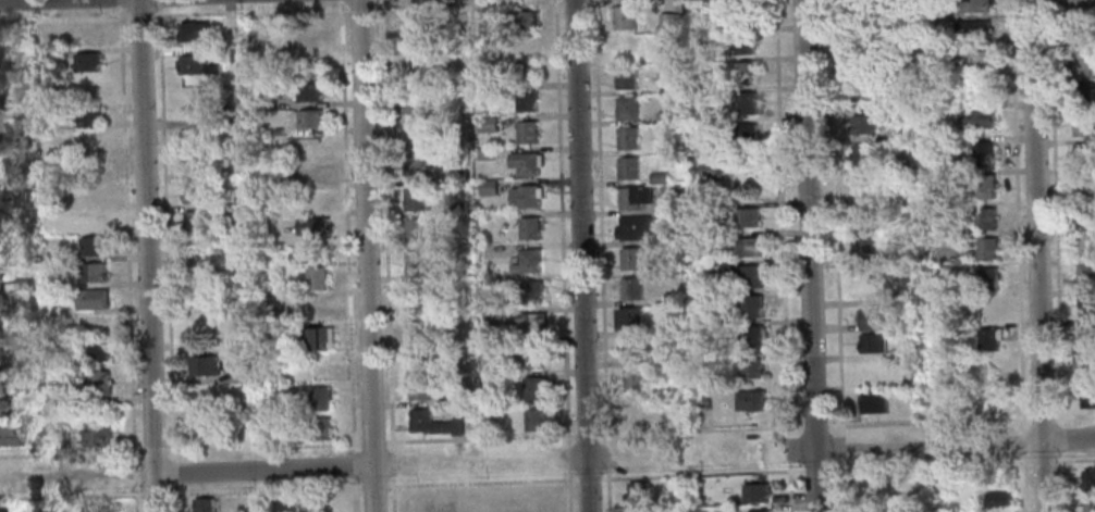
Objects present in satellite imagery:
road: (15, 0)
building: (909, 2)
road: (121, 3)
road: (340, 3)
road: (379, 3)
road: (455, 3)
road: (158, 4)
road: (359, 7)
building: (973, 7)
building: (1079, 7)
building: (865, 8)
road: (245, 10)
road: (139, 14)
building: (741, 14)
road: (63, 15)
building: (624, 17)
building: (518, 21)
building: (667, 22)
building: (229, 24)
building: (408, 25)
building: (193, 32)
building: (972, 32)
building: (1080, 35)
building: (86, 36)
building: (276, 42)
building: (743, 43)
building: (625, 48)
building: (47, 55)
building: (979, 61)
building: (87, 62)
building: (196, 65)
building: (436, 65)
building: (525, 65)
building: (861, 65)
building: (1081, 65)
building: (745, 73)
building: (894, 74)
building: (625, 77)
building: (980, 88)
building: (307, 92)
building: (1082, 95)
building: (862, 96)
building: (525, 100)
building: (9, 102)
building: (410, 102)
building: (746, 103)
building: (896, 104)
building: (200, 108)
building: (626, 108)
building: (88, 117)
building: (666, 117)
building: (309, 120)
building: (979, 120)
building: (487, 124)
building: (864, 124)
building: (1083, 125)
building: (527, 132)
building: (745, 134)
building: (415, 137)
building: (627, 138)
building: (17, 139)
building: (454, 145)
building: (89, 146)
building: (484, 153)
building: (983, 153)
building: (1083, 154)
building: (863, 155)
building: (525, 163)
building: (710, 166)
building: (414, 167)
building: (628, 168)
building: (0, 172)
building: (310, 174)
building: (455, 176)
building: (659, 177)
building: (982, 185)
building: (1084, 186)
building: (488, 187)
building: (90, 193)
building: (195, 193)
building: (524, 197)
building: (635, 198)
building: (414, 199)
building: (313, 200)
building: (53, 202)
building: (670, 205)
building: (456, 208)
building: (1084, 215)
road: (836, 216)
building: (748, 217)
road: (783, 217)
building: (985, 220)
building: (91, 221)
building: (197, 221)
building: (312, 226)
road: (386, 227)
road: (346, 228)
building: (530, 228)
building: (633, 228)
building: (415, 230)
road: (164, 233)
road: (127, 234)
building: (672, 235)
building: (866, 240)
building: (1085, 246)
building: (93, 247)
building: (10, 248)
building: (748, 249)
building: (986, 249)
building: (911, 253)
road: (146, 255)
road: (365, 255)
road: (563, 255)
road: (580, 255)
road: (602, 255)
road: (809, 255)
road: (1019, 255)
road: (1035, 255)
road: (1057, 255)
building: (56, 257)
building: (297, 258)
building: (630, 259)
building: (528, 261)
building: (416, 262)
building: (724, 267)
building: (93, 273)
building: (1086, 276)
building: (751, 277)
building: (316, 278)
building: (987, 278)
building: (23, 285)
building: (632, 289)
building: (531, 292)
building: (420, 296)
building: (673, 298)
building: (91, 300)
building: (1, 303)
building: (751, 305)
building: (1086, 305)
building: (316, 309)
building: (491, 314)
building: (630, 320)
building: (874, 320)
building: (533, 324)
building: (419, 326)
building: (672, 326)
building: (1086, 336)
building: (753, 337)
building: (317, 338)
building: (988, 339)
building: (873, 342)
building: (633, 350)
building: (96, 351)
building: (532, 357)
building: (419, 358)
building: (669, 358)
building: (202, 365)
building: (1085, 366)
building: (751, 369)
building: (241, 374)
building: (493, 378)
building: (635, 379)
building: (99, 384)
building: (533, 388)
building: (419, 389)
building: (462, 397)
building: (1087, 397)
building: (63, 398)
building: (204, 398)
building: (320, 399)
building: (991, 400)
building: (750, 401)
building: (874, 404)
building: (922, 407)
building: (3, 409)
road: (1074, 415)
road: (1043, 417)
building: (534, 420)
road: (930, 421)
road: (815, 424)
building: (434, 425)
building: (320, 429)
building: (98, 434)
building: (32, 435)
road: (594, 435)
building: (8, 436)
building: (58, 439)
road: (296, 442)
road: (372, 442)
road: (955, 444)
road: (329, 445)
road: (842, 446)
road: (789, 447)
road: (152, 450)
road: (169, 450)
road: (70, 453)
street lamp: (1057, 455)
road: (1075, 460)
road: (393, 463)
road: (942, 463)
road: (354, 464)
street lamp: (797, 465)
road: (815, 467)
road: (263, 470)
road: (173, 472)
road: (135, 474)
road: (67, 475)
road: (595, 477)
building: (1090, 479)
road: (372, 485)
road: (790, 485)
road: (842, 485)
road: (263, 490)
building: (640, 492)
building: (759, 492)
road: (155, 494)
road: (355, 494)
road: (393, 495)
road: (71, 496)
building: (685, 498)
building: (1000, 498)
road: (136, 499)
road: (173, 499)
building: (206, 504)
building: (101, 508)
building: (727, 508)
building: (1088, 508)
building: (1, 509)
building: (761, 510)
building: (876, 510)

